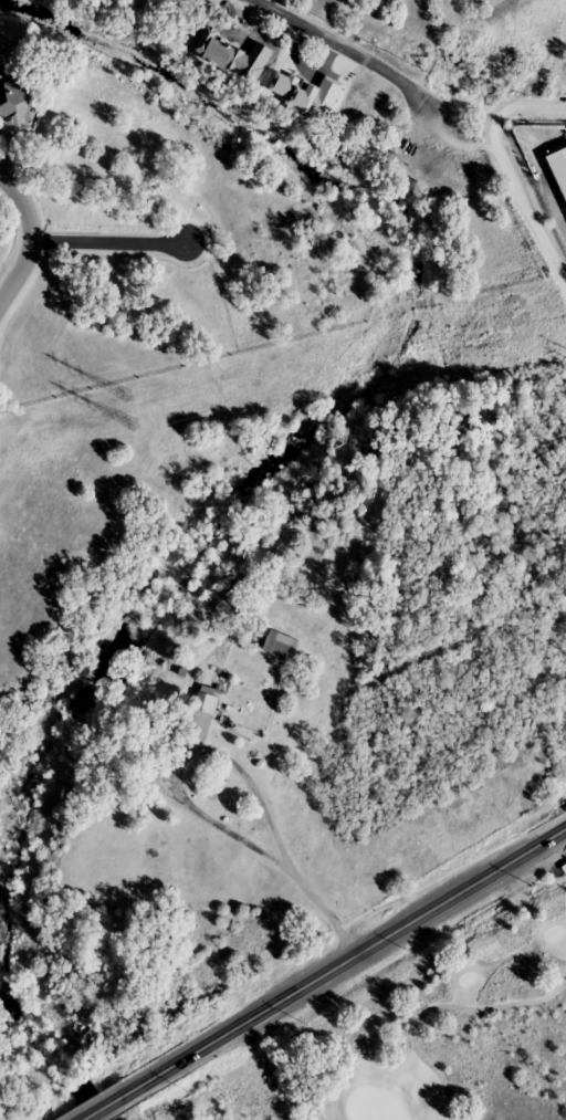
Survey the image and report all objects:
road: (343, 50)
building: (14, 103)
building: (559, 167)
road: (505, 172)
road: (30, 238)
road: (108, 242)
power tower: (128, 395)
power tower: (134, 425)
building: (279, 645)
building: (206, 700)
building: (163, 733)
road: (325, 974)
park: (444, 1027)
park: (463, 1038)

